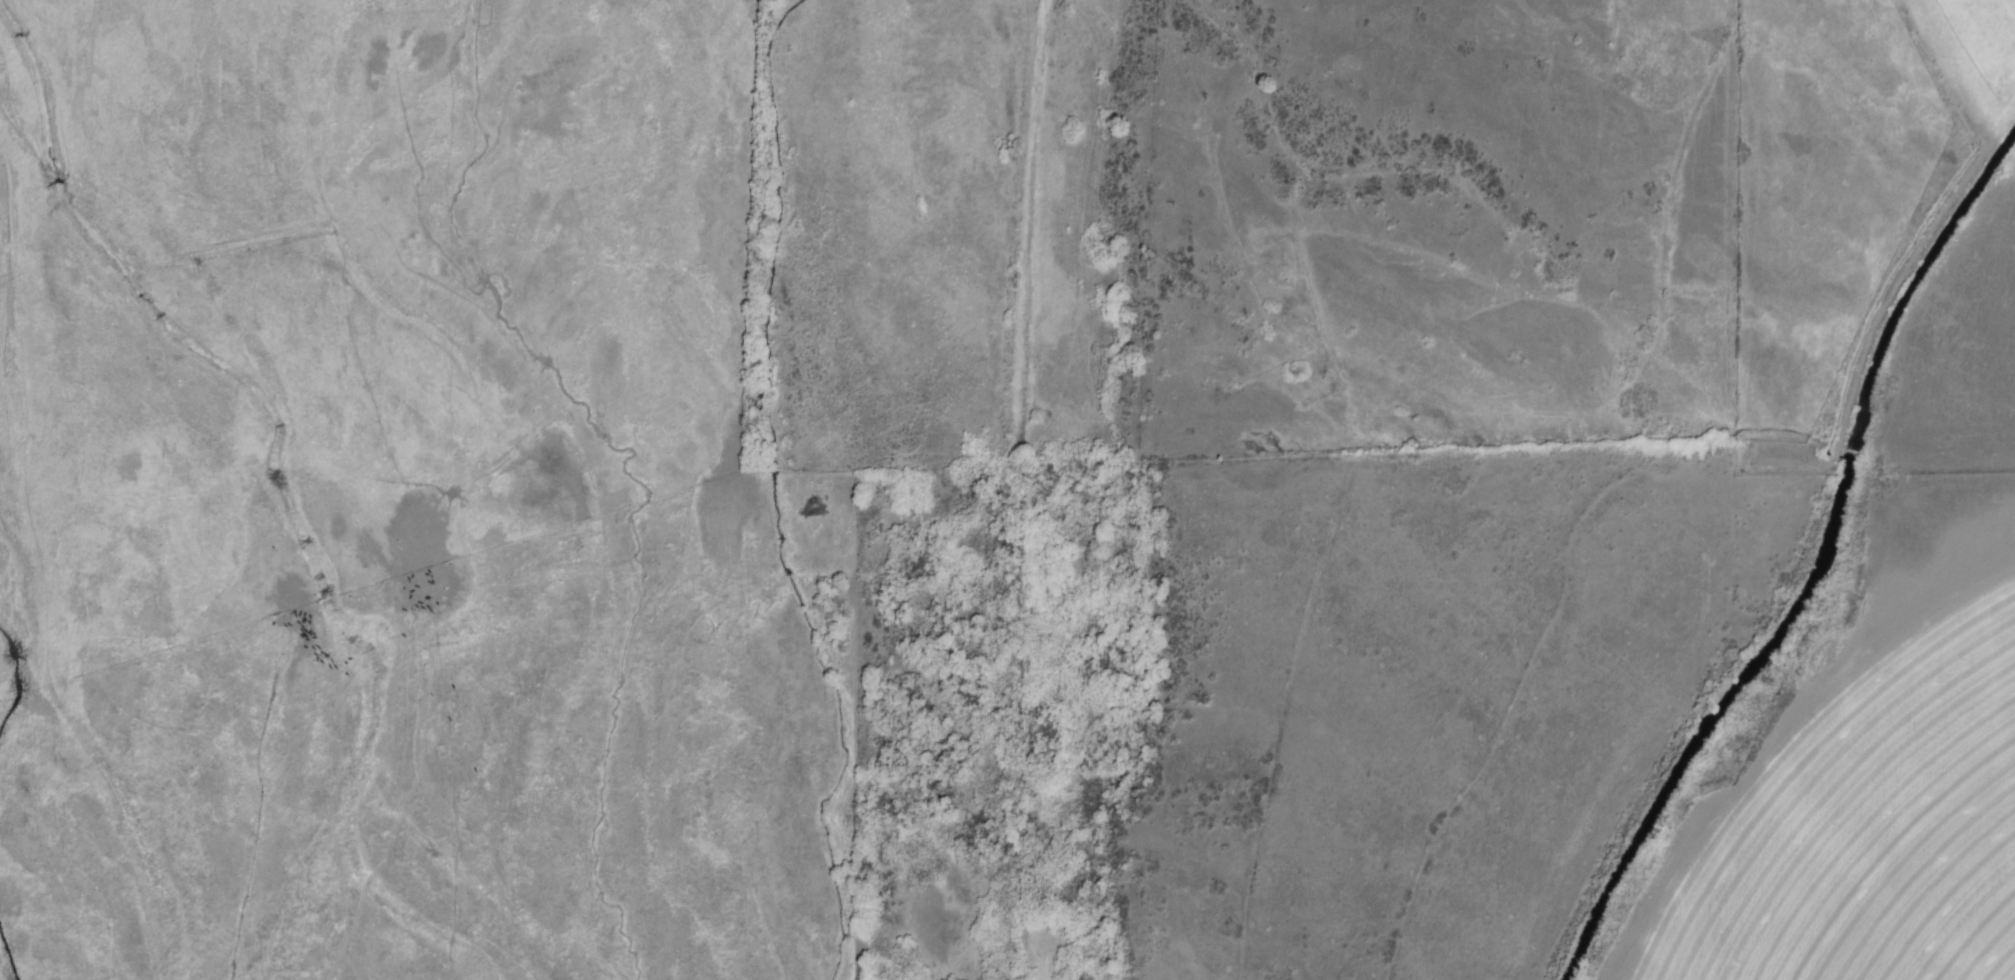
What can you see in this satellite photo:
crop: (1976, 56)
crop: (1866, 776)

